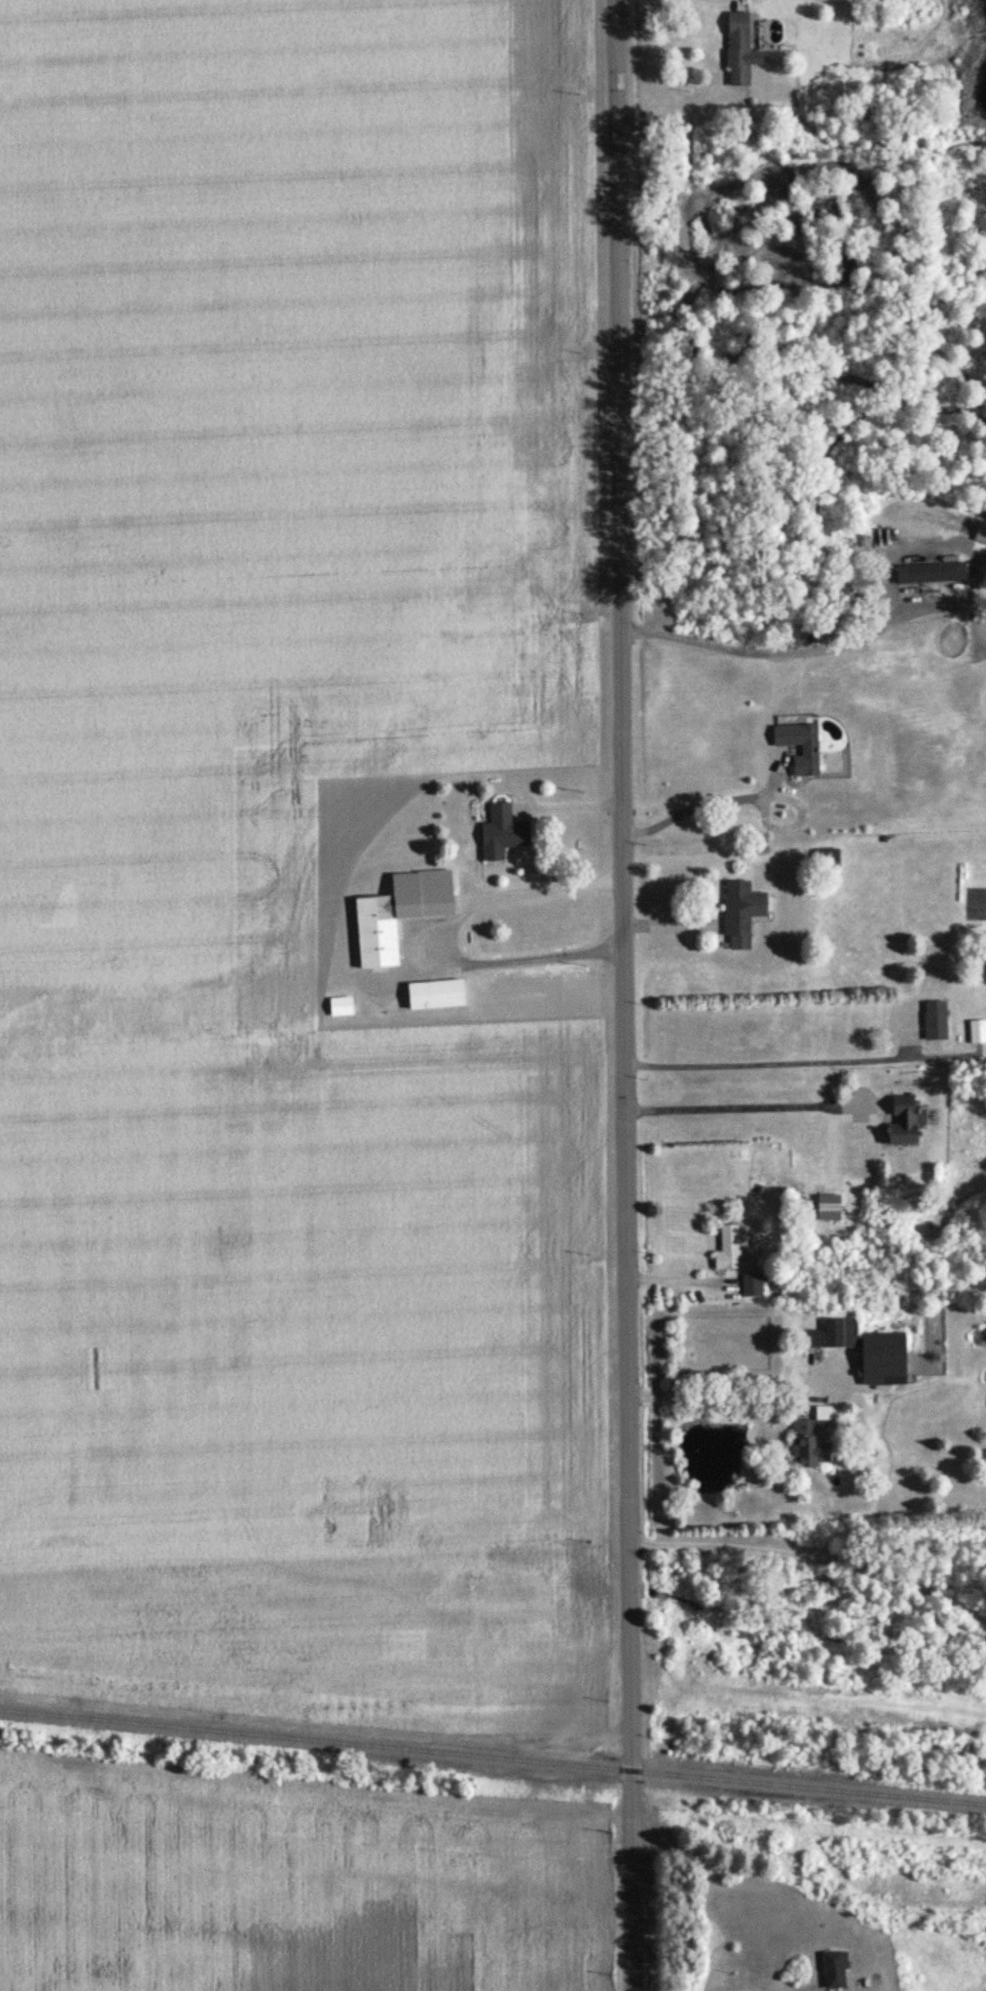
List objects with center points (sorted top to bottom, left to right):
building: (736, 50)
building: (930, 573)
road: (764, 653)
building: (808, 750)
road: (569, 805)
road: (702, 806)
building: (501, 833)
building: (825, 858)
building: (740, 913)
building: (396, 916)
road: (446, 934)
building: (435, 995)
road: (625, 995)
building: (340, 1006)
building: (934, 1021)
building: (977, 1032)
road: (746, 1107)
building: (900, 1122)
building: (828, 1207)
building: (727, 1248)
building: (751, 1284)
building: (831, 1335)
building: (881, 1360)
road: (734, 1395)
building: (807, 1446)
road: (813, 1554)
railway: (493, 1757)
building: (833, 1970)

